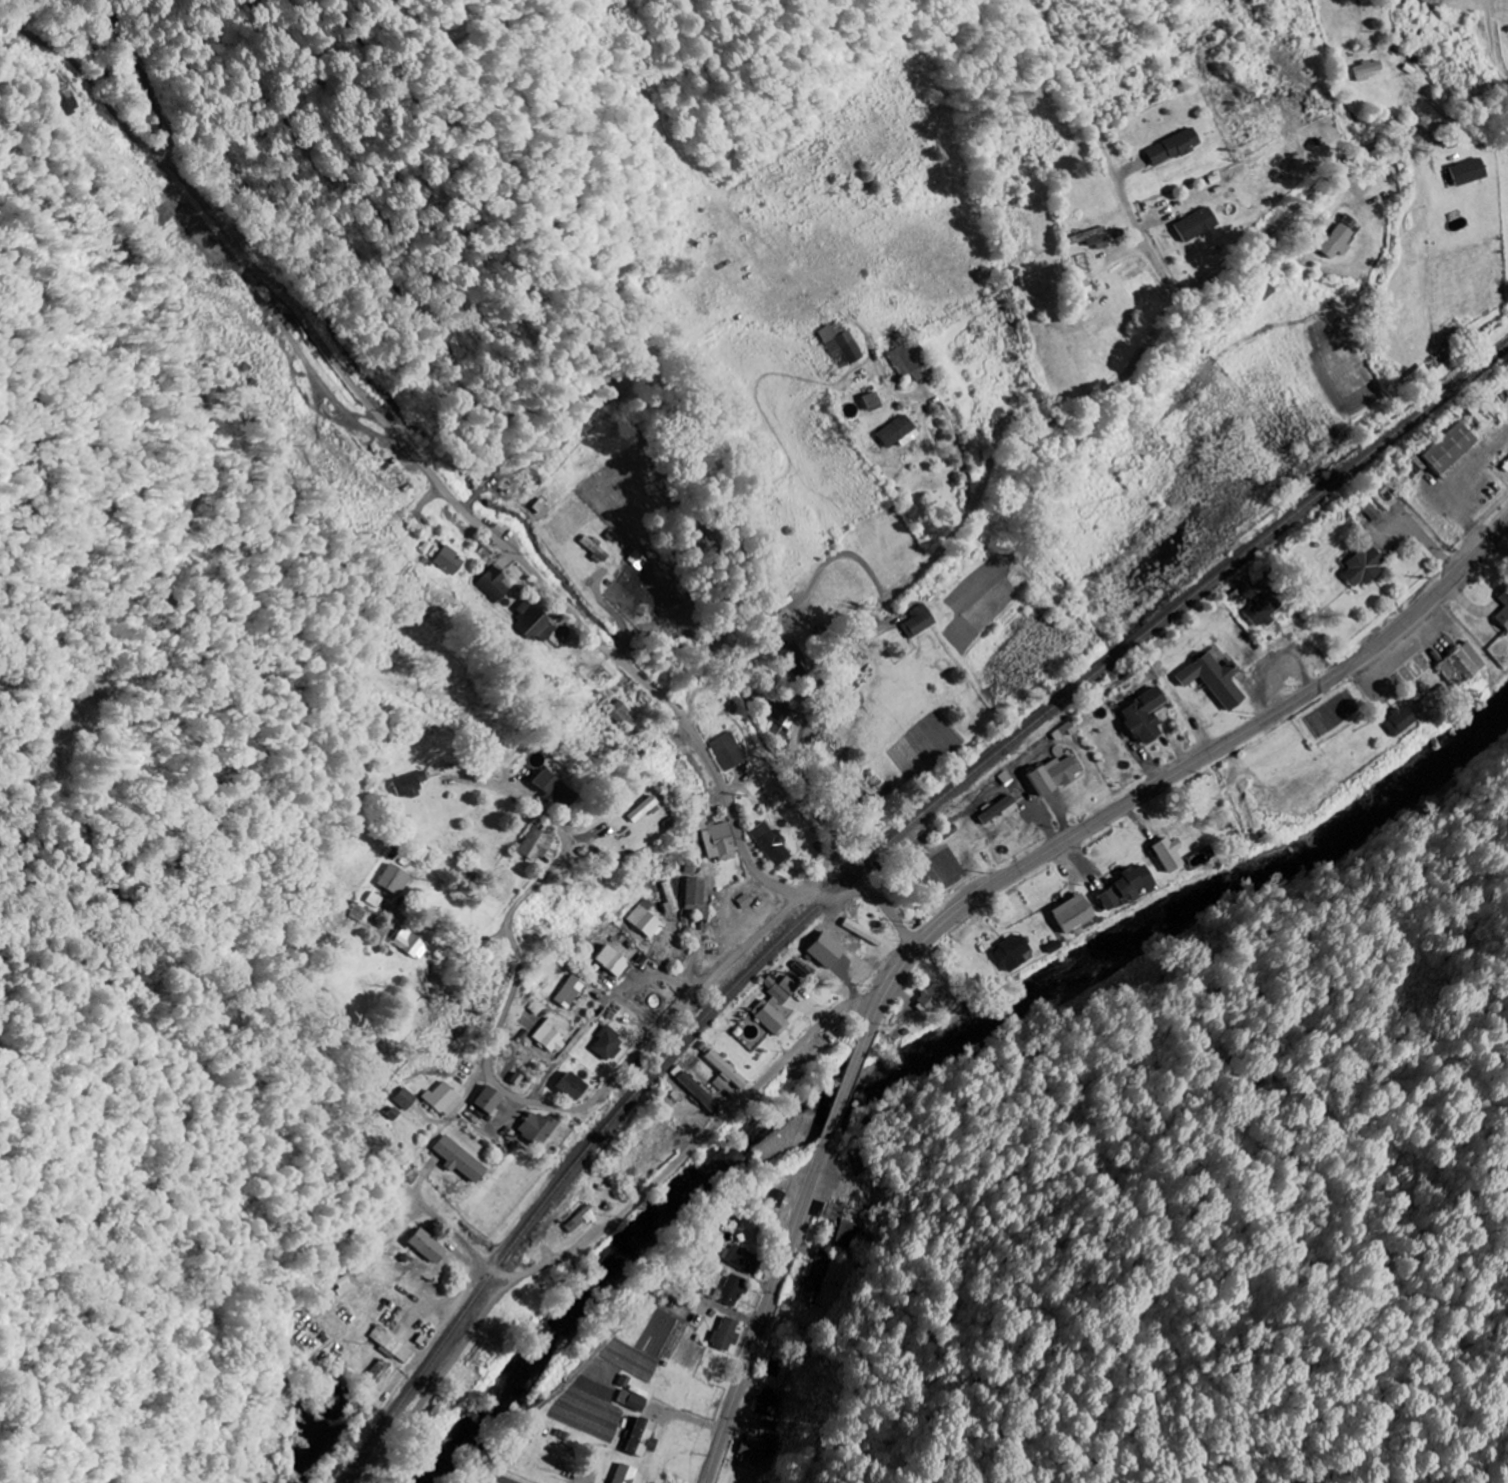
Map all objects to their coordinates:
building: (1369, 69)
building: (64, 98)
building: (1171, 147)
building: (1469, 171)
building: (1195, 225)
building: (1092, 238)
building: (1335, 241)
building: (1083, 283)
building: (840, 344)
building: (905, 355)
building: (1417, 375)
building: (870, 401)
road: (1035, 418)
building: (896, 432)
road: (570, 439)
building: (1447, 450)
building: (1506, 466)
road: (461, 501)
building: (1374, 509)
building: (594, 547)
building: (450, 559)
building: (641, 559)
building: (1363, 565)
building: (495, 584)
building: (1262, 610)
building: (1503, 610)
building: (765, 621)
building: (918, 621)
building: (533, 623)
building: (791, 657)
building: (1462, 665)
road: (695, 677)
building: (1214, 680)
building: (780, 712)
building: (621, 714)
building: (1143, 717)
building: (1399, 721)
building: (777, 732)
building: (728, 751)
building: (1053, 774)
road: (1176, 775)
building: (412, 783)
building: (552, 789)
building: (636, 809)
building: (1000, 809)
building: (714, 836)
building: (769, 843)
building: (533, 845)
building: (1168, 854)
railway: (869, 857)
road: (542, 877)
building: (392, 879)
building: (1134, 881)
building: (695, 893)
building: (670, 898)
building: (374, 899)
building: (1106, 899)
building: (1072, 913)
building: (646, 922)
building: (409, 943)
building: (824, 949)
building: (1011, 952)
building: (612, 960)
building: (570, 991)
road: (512, 997)
building: (930, 998)
building: (775, 1005)
road: (601, 1010)
road: (671, 1016)
building: (550, 1036)
building: (607, 1044)
river: (933, 1059)
building: (724, 1072)
building: (569, 1086)
road: (848, 1088)
building: (697, 1091)
building: (406, 1098)
building: (444, 1098)
road: (465, 1099)
building: (486, 1099)
building: (535, 1128)
building: (457, 1158)
building: (776, 1198)
road: (398, 1207)
building: (580, 1219)
road: (606, 1221)
building: (849, 1224)
building: (426, 1246)
building: (745, 1258)
building: (735, 1290)
road: (771, 1310)
road: (737, 1311)
building: (729, 1333)
building: (392, 1345)
building: (640, 1402)
building: (644, 1437)
building: (760, 1450)
building: (628, 1474)

